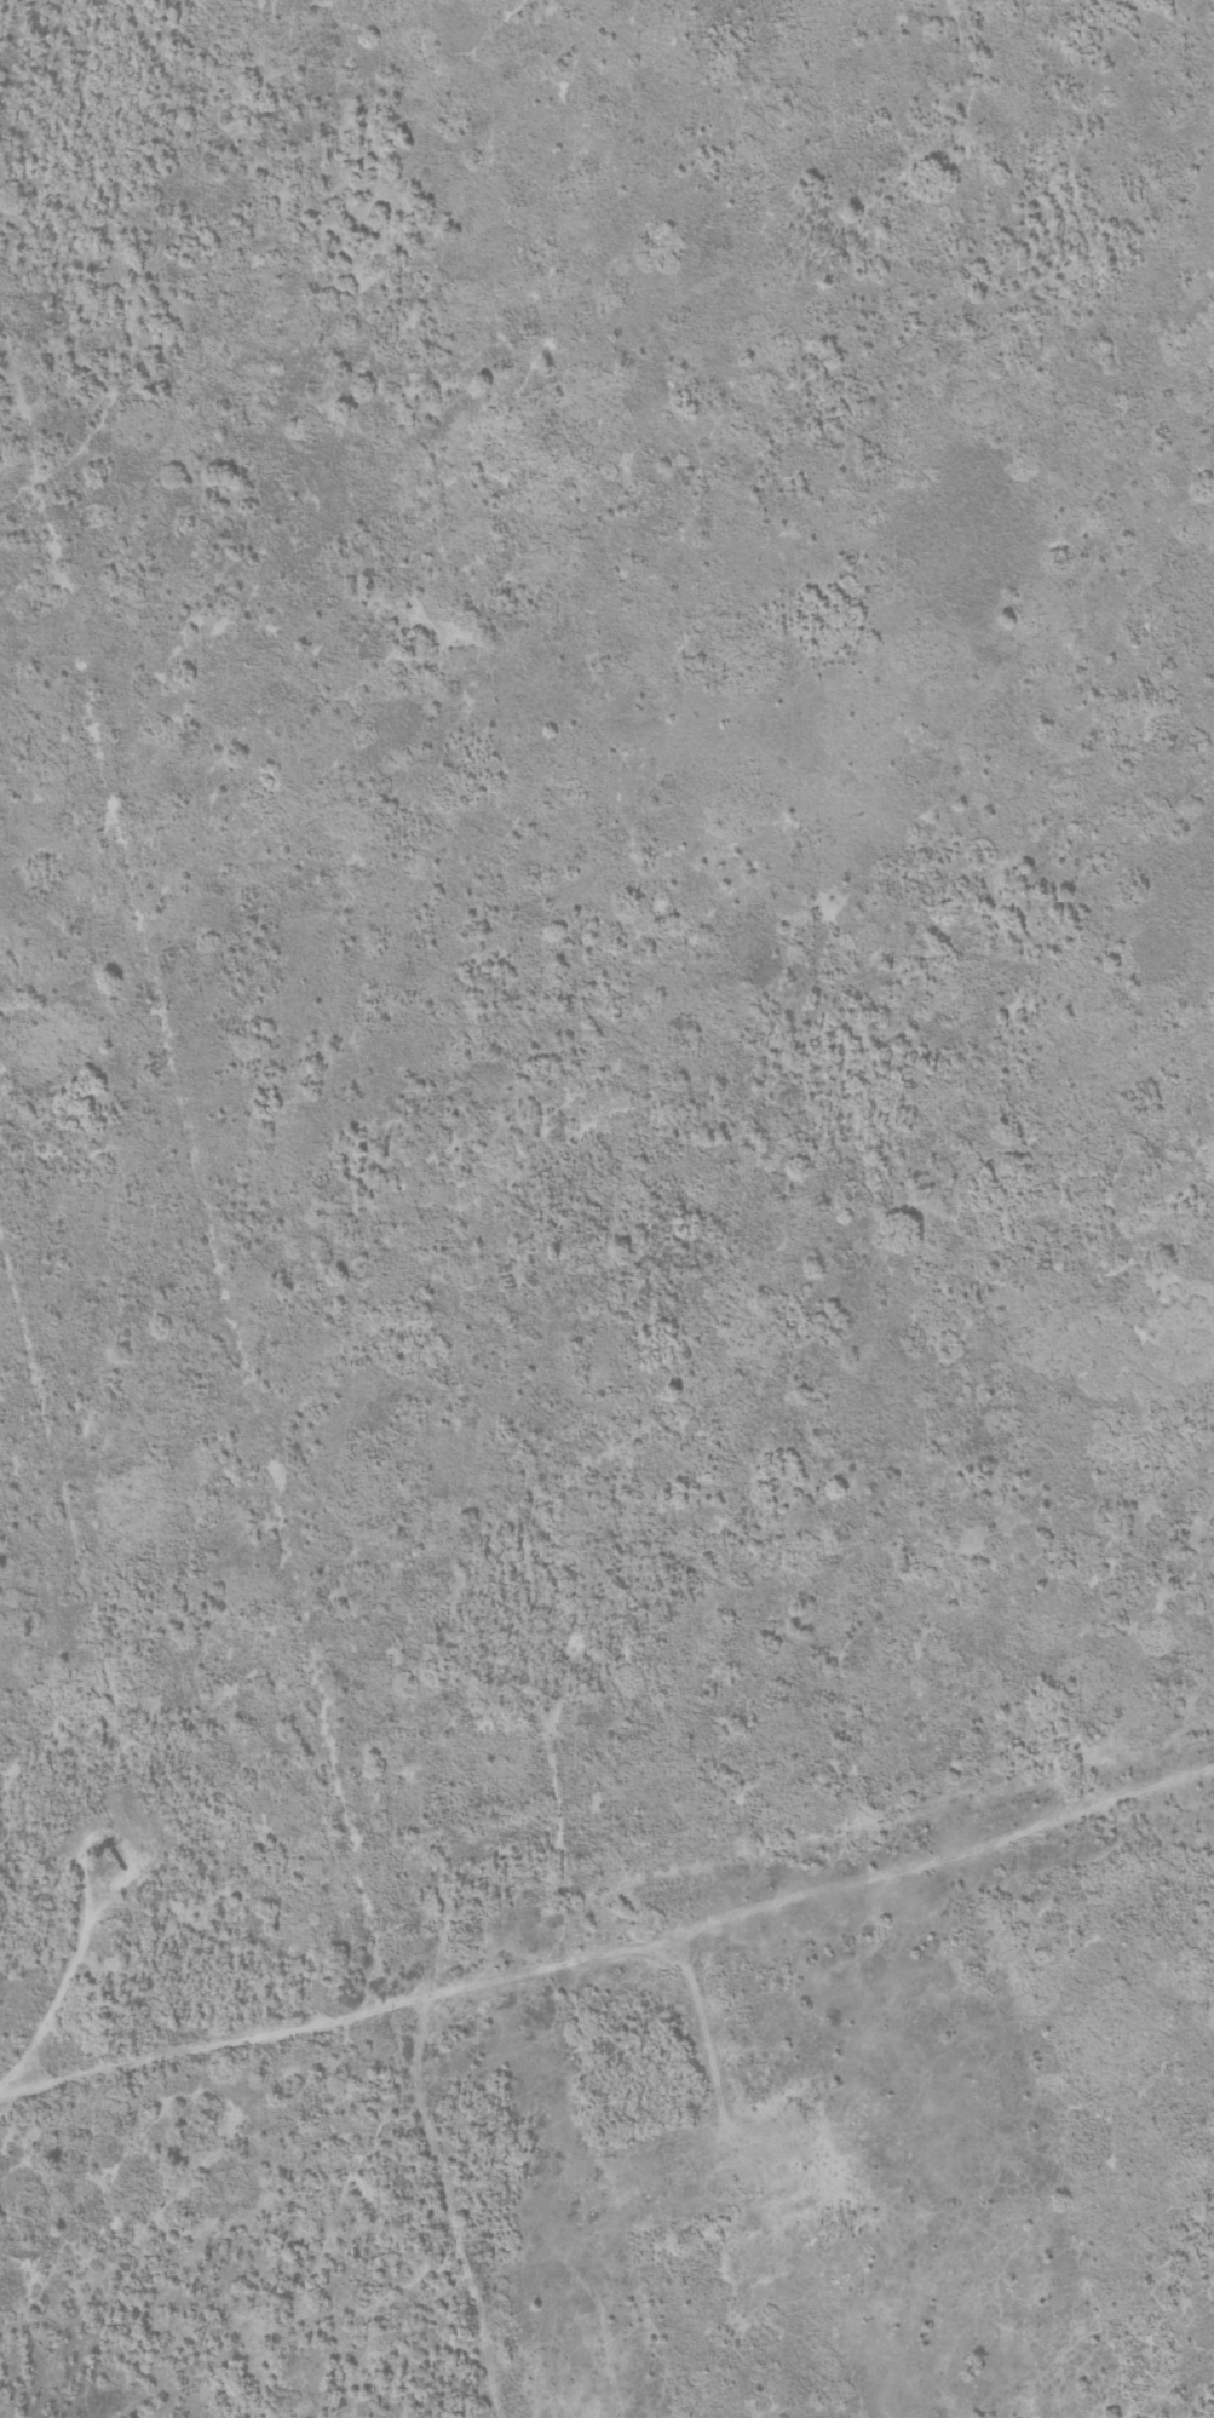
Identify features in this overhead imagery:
road: (82, 260)
road: (73, 1346)
road: (609, 1936)
road: (372, 2063)

